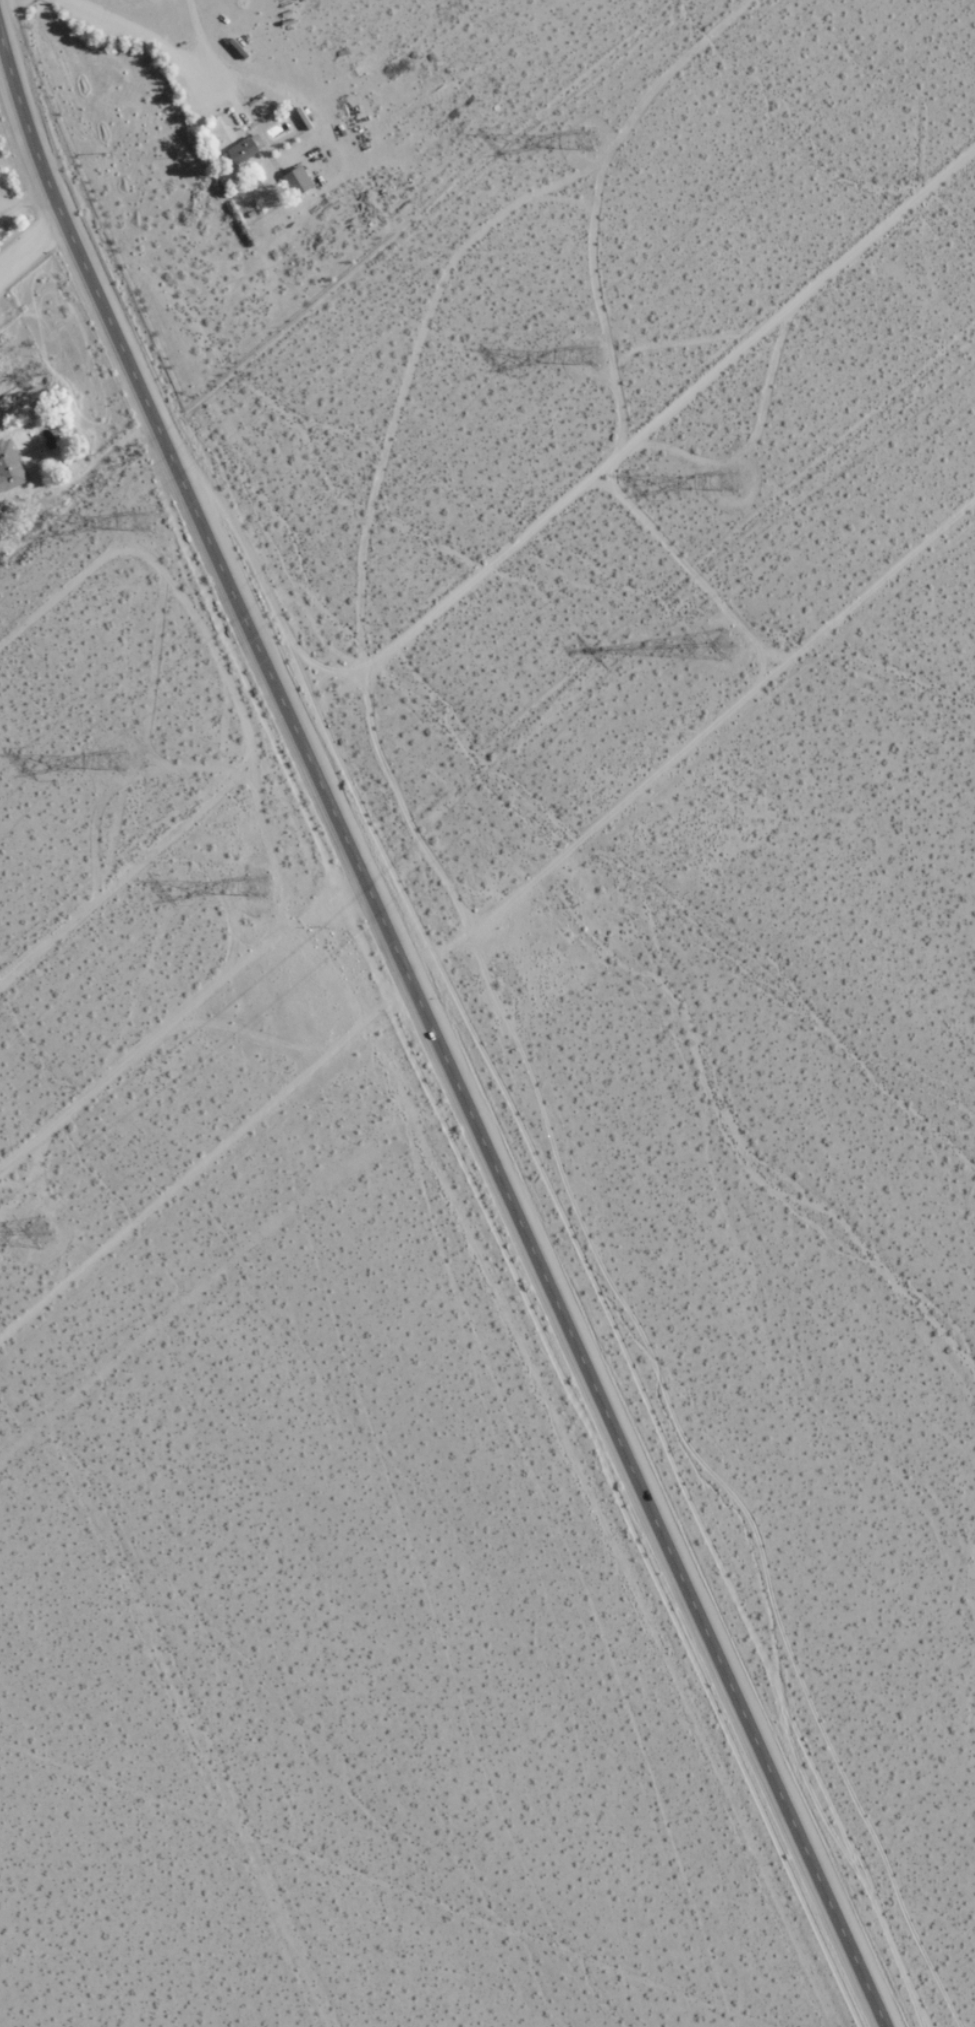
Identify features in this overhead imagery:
road: (1, 43)
power tower: (592, 138)
building: (242, 150)
building: (297, 181)
road: (31, 250)
power tower: (596, 350)
road: (137, 386)
road: (633, 442)
building: (9, 467)
road: (83, 477)
power tower: (740, 484)
power tower: (151, 518)
power tower: (733, 648)
power tower: (123, 764)
road: (349, 857)
road: (145, 858)
power tower: (266, 884)
road: (204, 1158)
power tower: (46, 1231)
road: (646, 1504)

